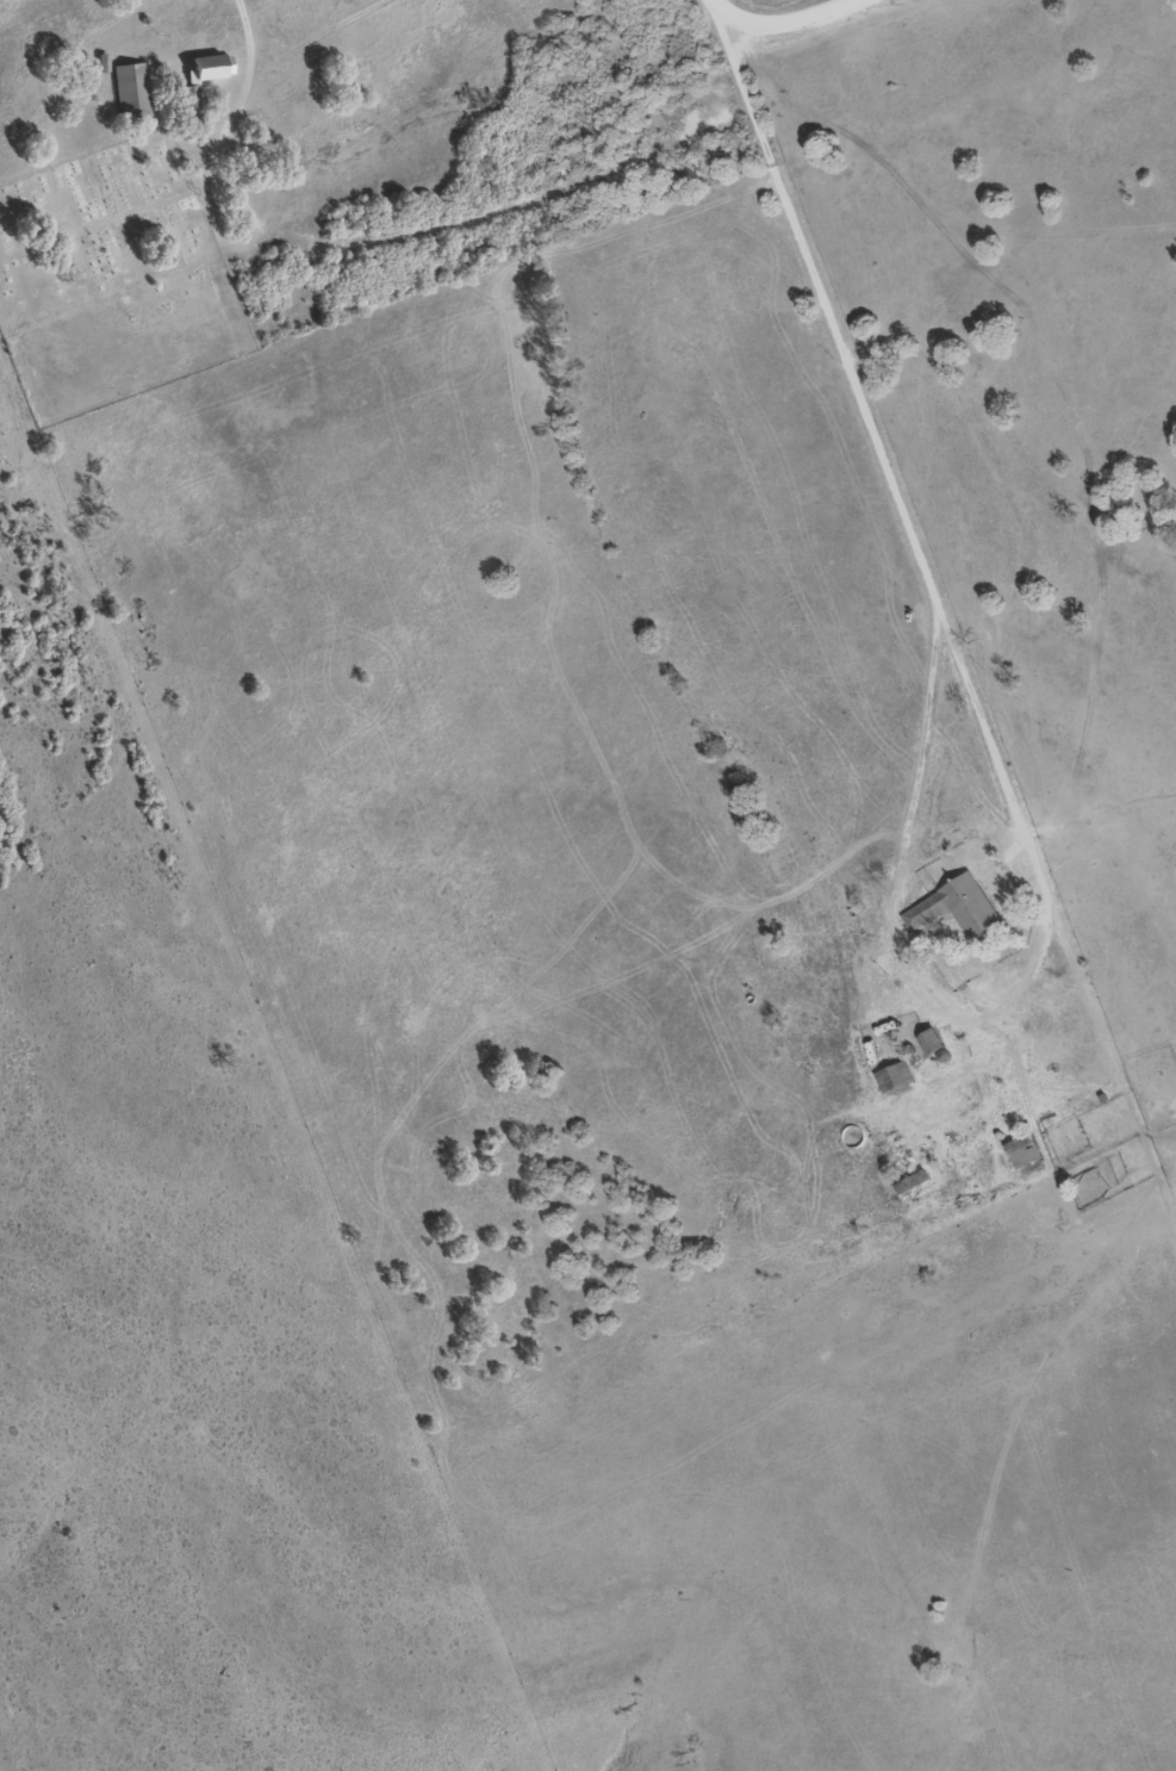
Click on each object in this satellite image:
road: (703, 1)
building: (300, 4)
road: (773, 26)
road: (288, 45)
building: (132, 89)
building: (193, 100)
park: (111, 278)
road: (878, 441)
building: (959, 911)
building: (895, 1077)
building: (915, 1183)

